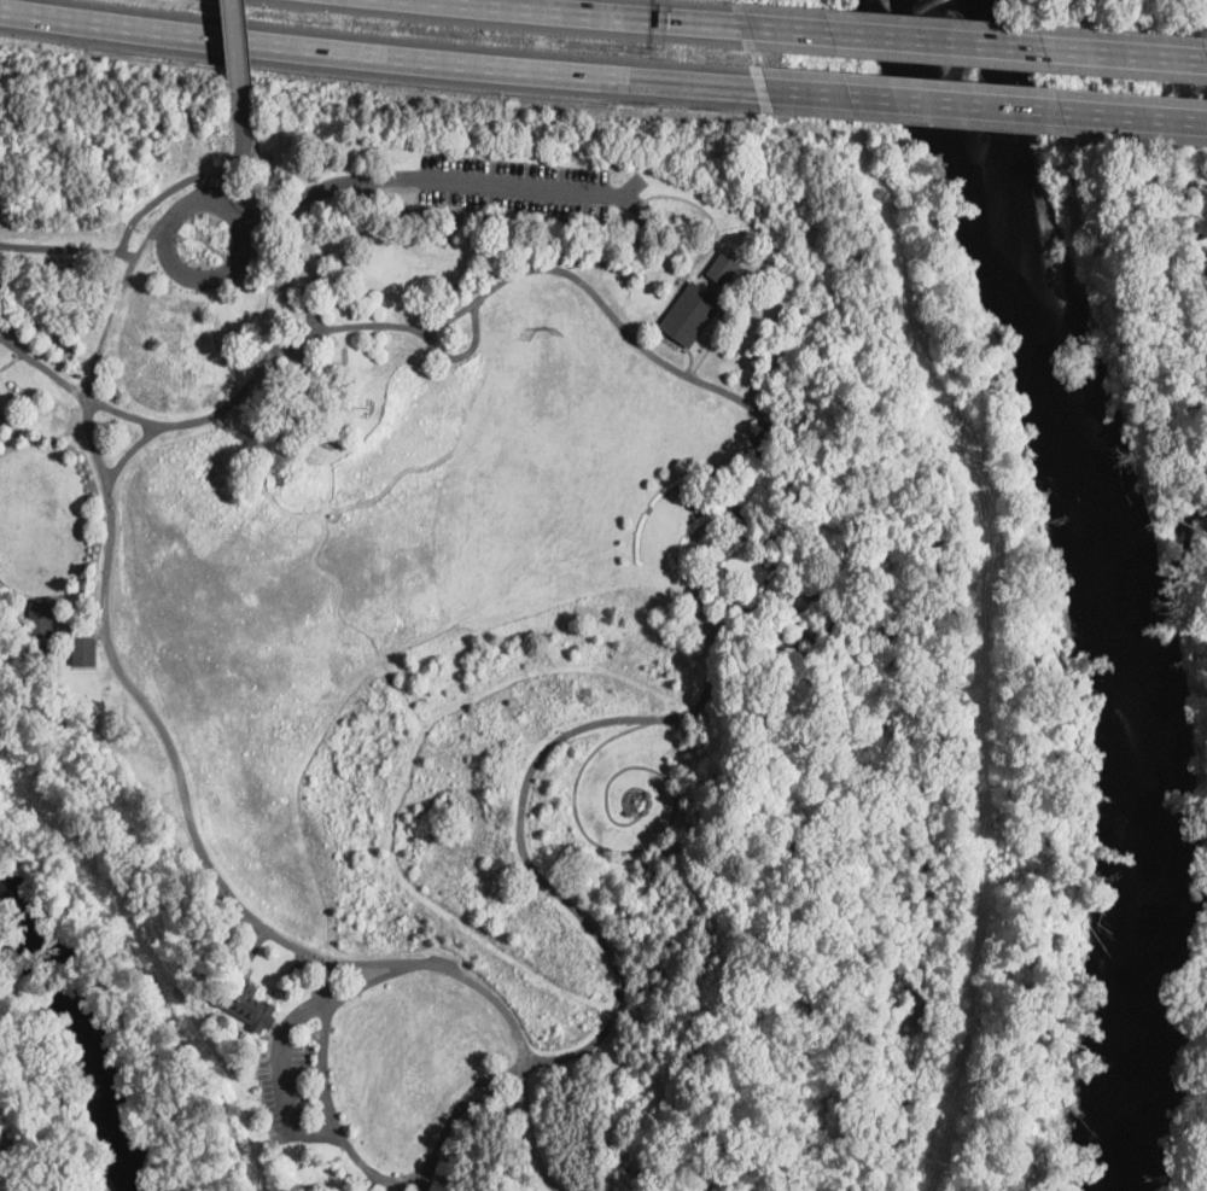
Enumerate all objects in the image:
road: (582, 12)
road: (972, 42)
road: (235, 48)
road: (245, 48)
road: (377, 52)
road: (981, 105)
road: (256, 142)
building: (390, 147)
road: (237, 150)
road: (438, 179)
road: (222, 182)
parking lot: (527, 185)
road: (634, 186)
road: (249, 188)
road: (152, 202)
road: (262, 202)
road: (589, 217)
road: (62, 243)
road: (273, 249)
building: (298, 252)
road: (127, 259)
building: (59, 264)
building: (723, 269)
road: (228, 272)
road: (251, 287)
road: (305, 297)
building: (693, 314)
road: (109, 328)
road: (675, 338)
road: (466, 354)
road: (12, 363)
road: (42, 367)
road: (246, 386)
road: (8, 398)
road: (124, 414)
road: (95, 440)
road: (132, 450)
road: (693, 580)
river: (1123, 582)
road: (981, 585)
road: (48, 597)
park: (514, 612)
building: (40, 620)
building: (83, 652)
road: (170, 743)
road: (672, 818)
road: (450, 970)
road: (373, 981)
building: (245, 1005)
road: (282, 1078)
parking lot: (285, 1084)
road: (327, 1084)
road: (495, 1099)
road: (459, 1114)
road: (531, 1132)
road: (404, 1180)

